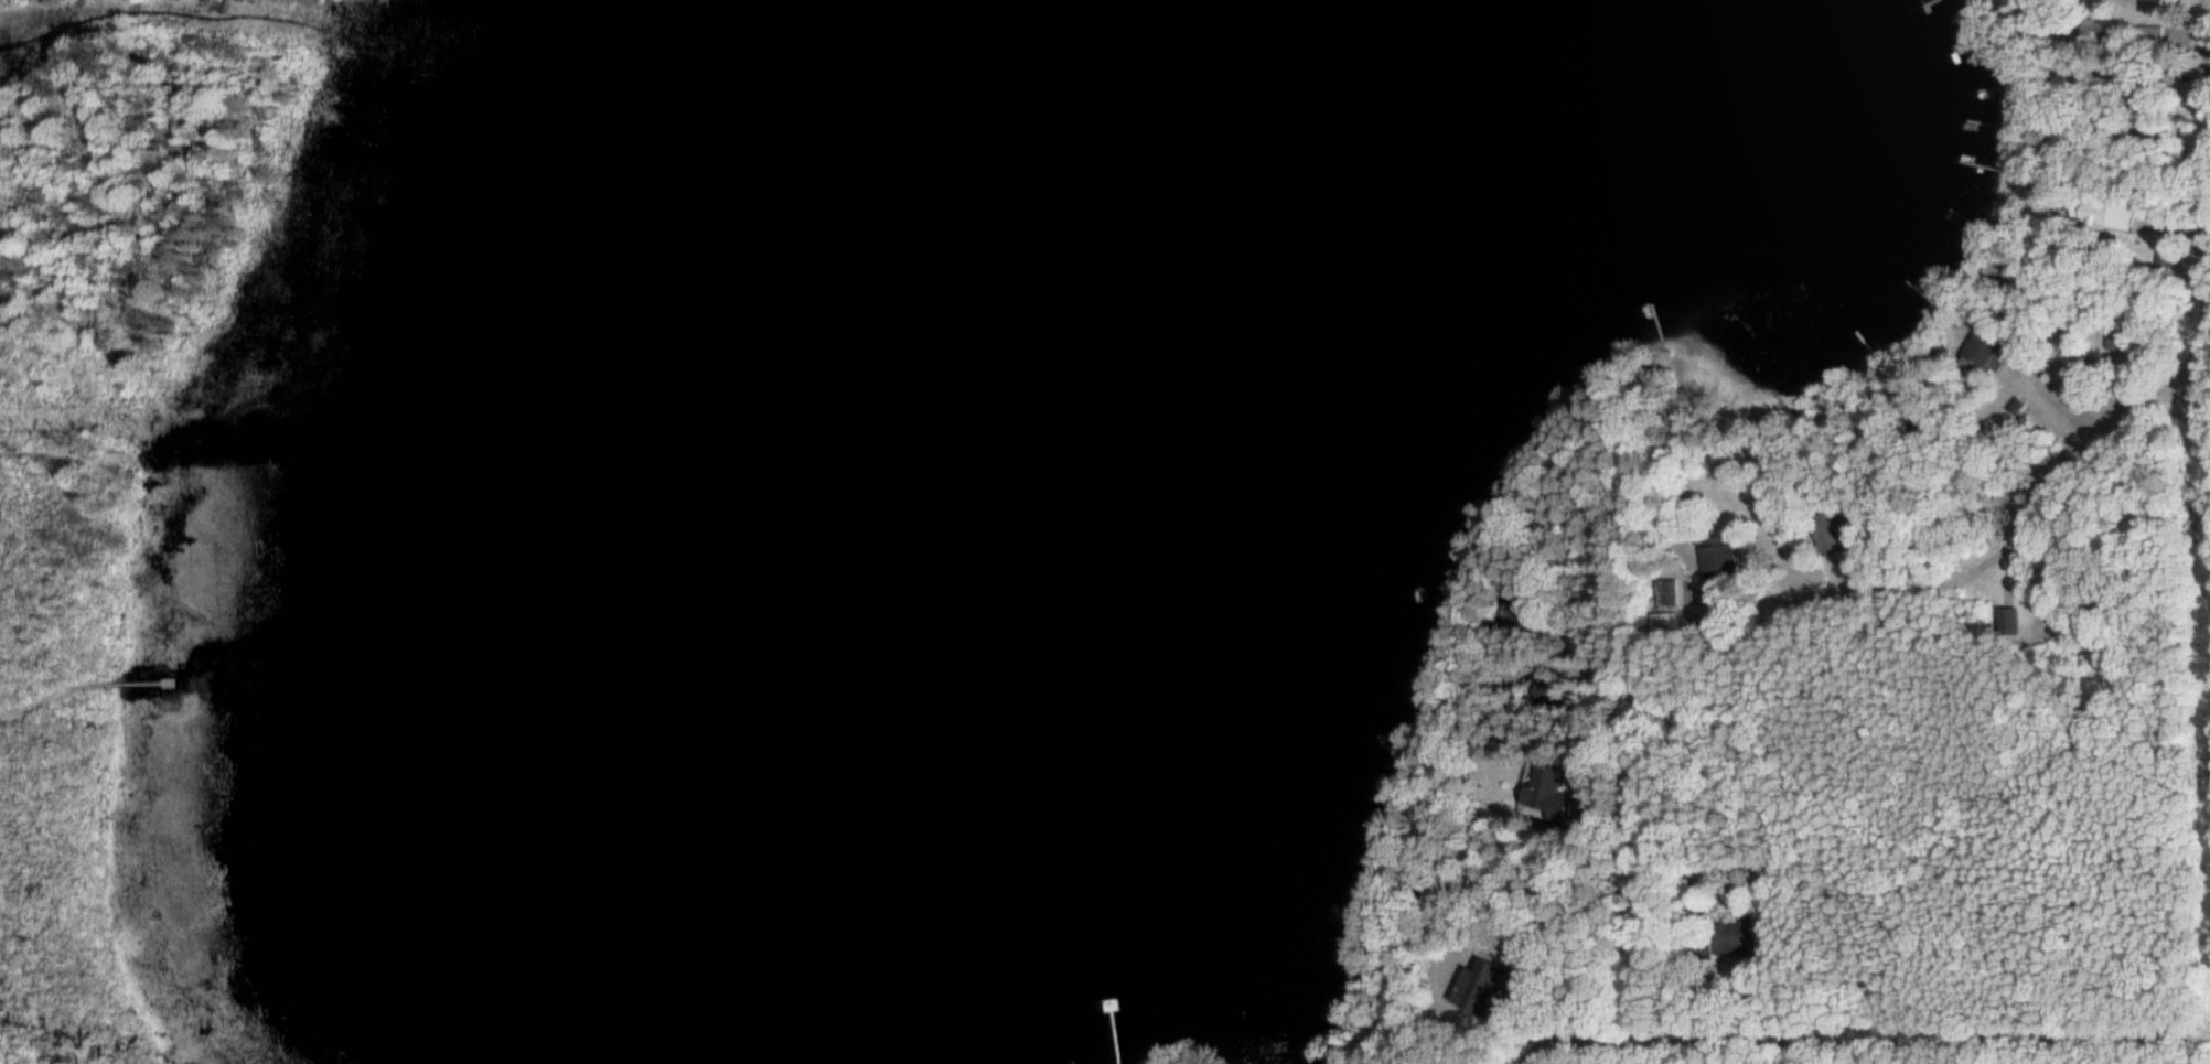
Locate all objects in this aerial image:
building: (2092, 29)
building: (2146, 35)
road: (2209, 49)
building: (2101, 214)
building: (1976, 351)
road: (2027, 518)
building: (1712, 555)
building: (1662, 592)
building: (1540, 787)
road: (1500, 915)
building: (1727, 937)

